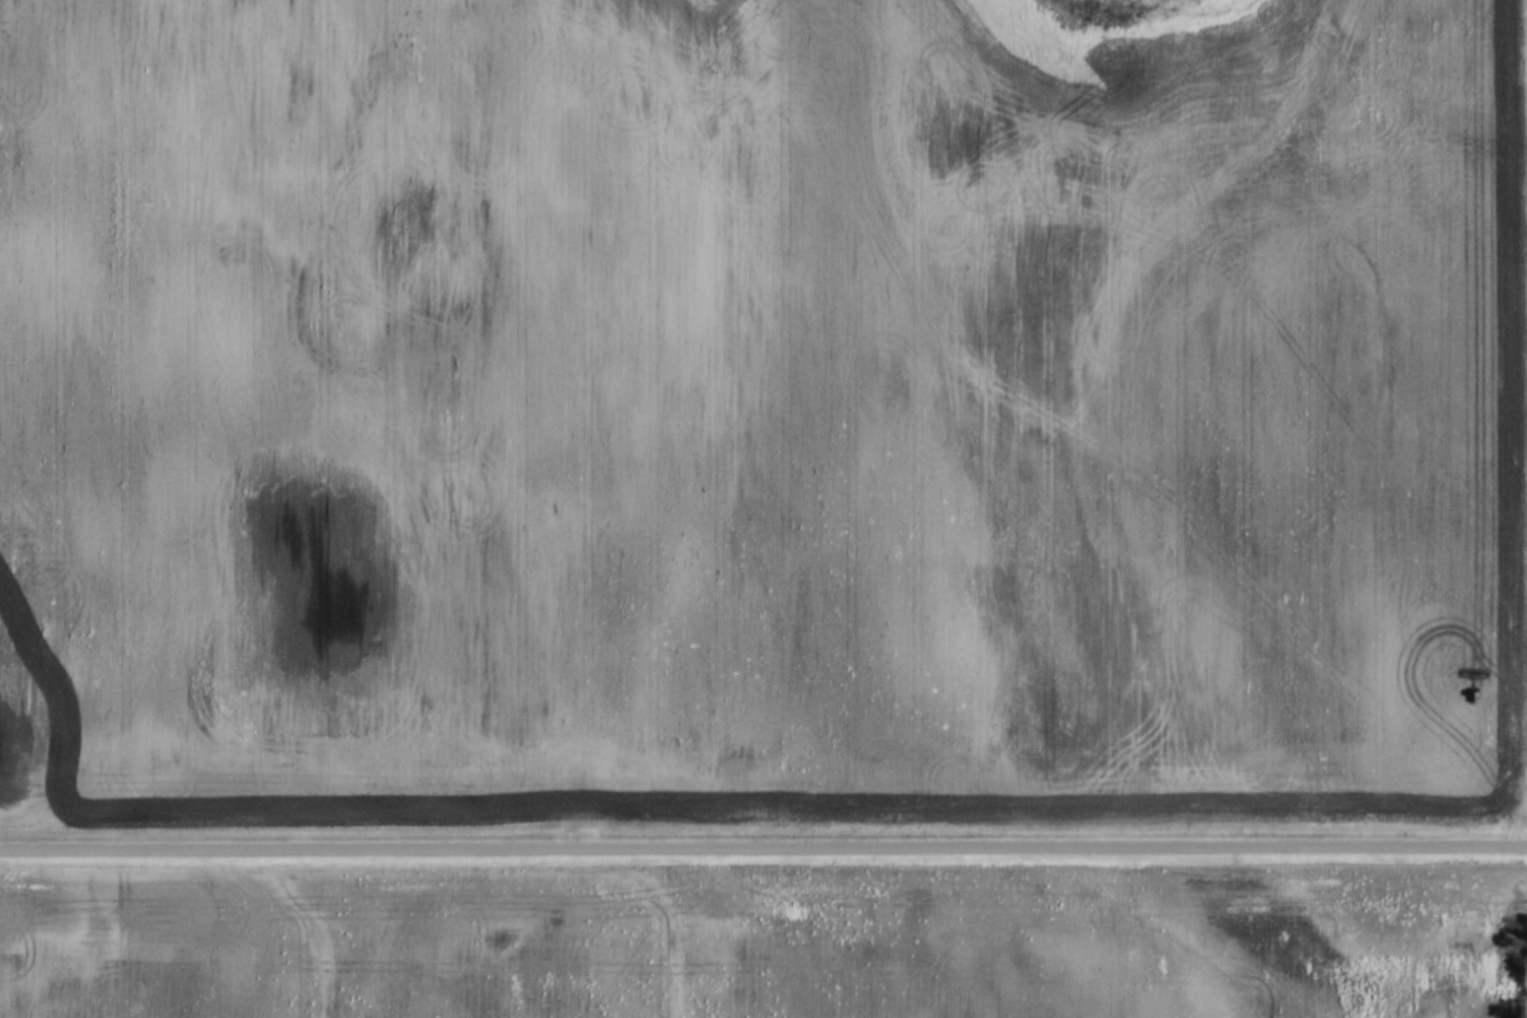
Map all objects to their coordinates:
road: (763, 847)

